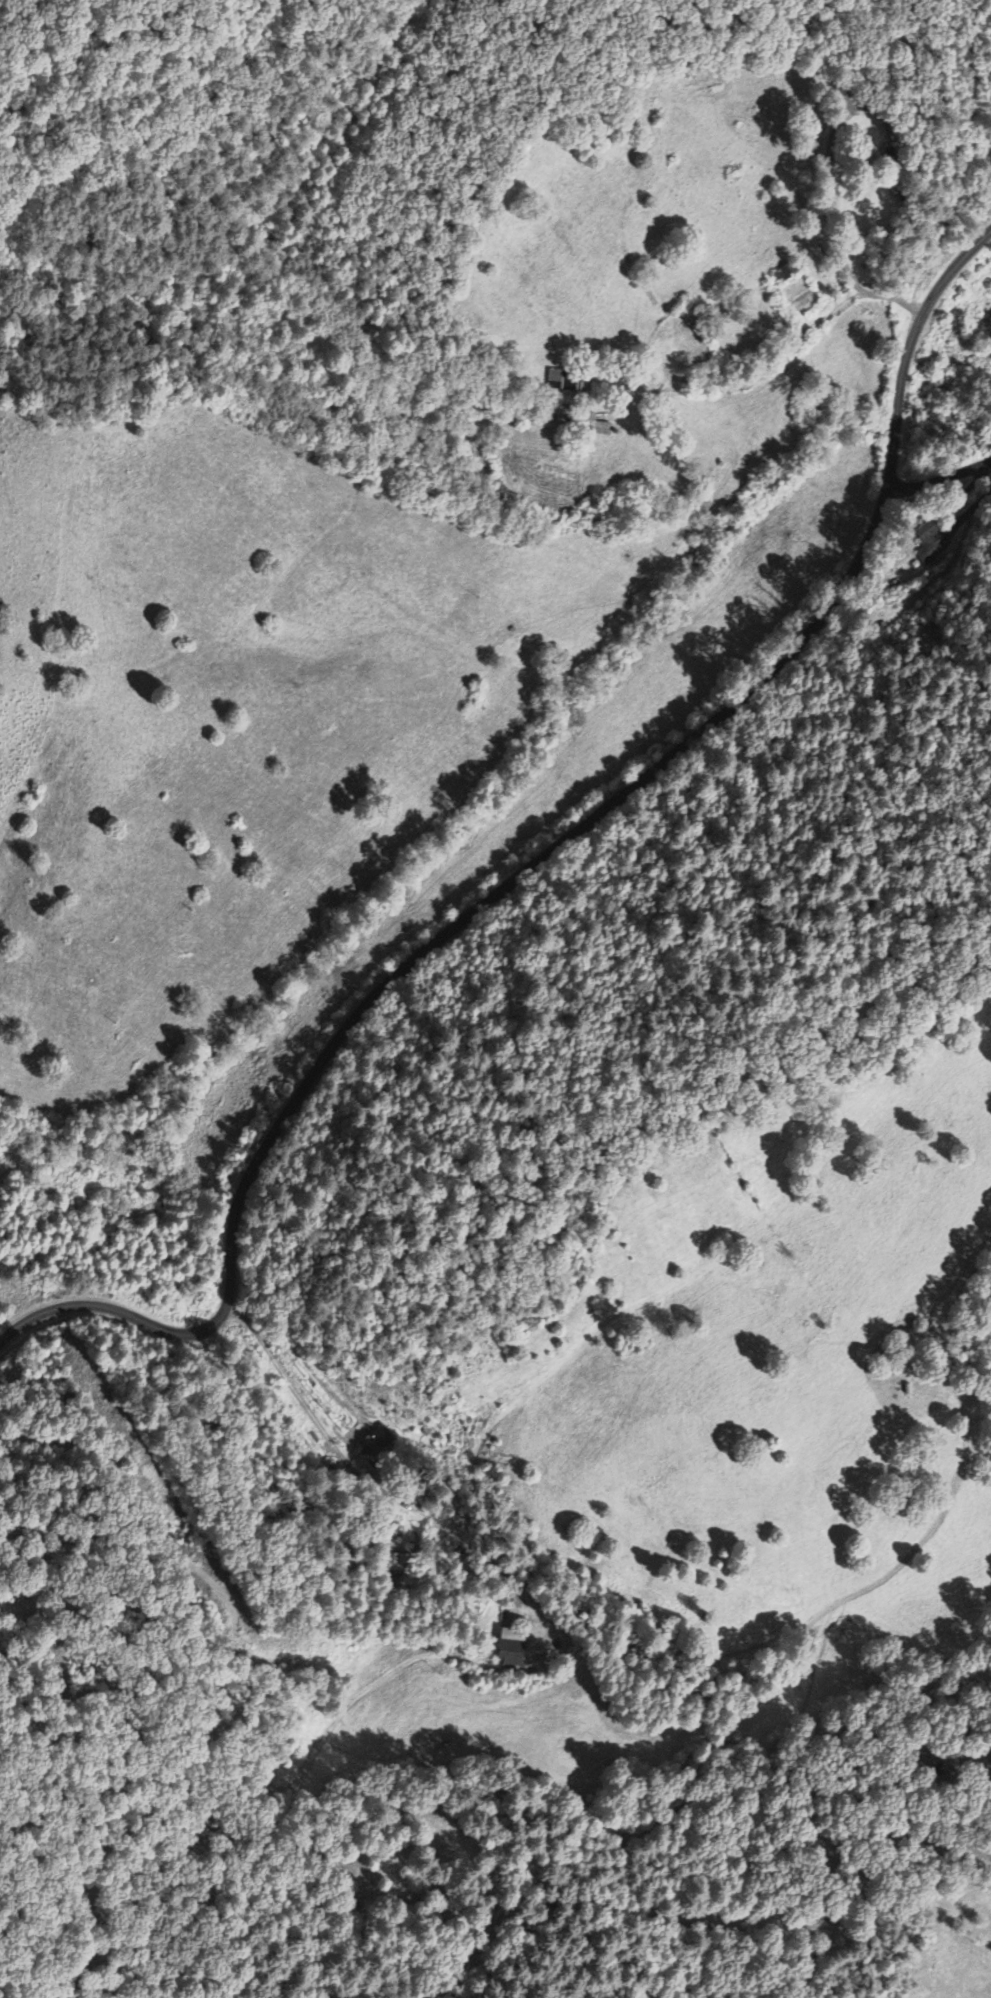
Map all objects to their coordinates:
building: (784, 274)
road: (797, 340)
road: (936, 479)
building: (926, 547)
road: (529, 862)
building: (375, 1442)
building: (510, 1650)

